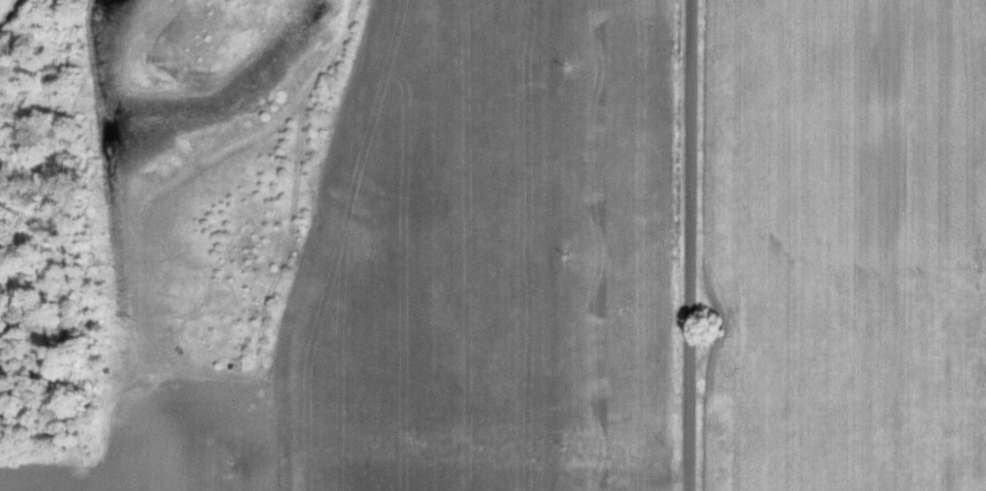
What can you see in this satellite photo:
road: (687, 245)

